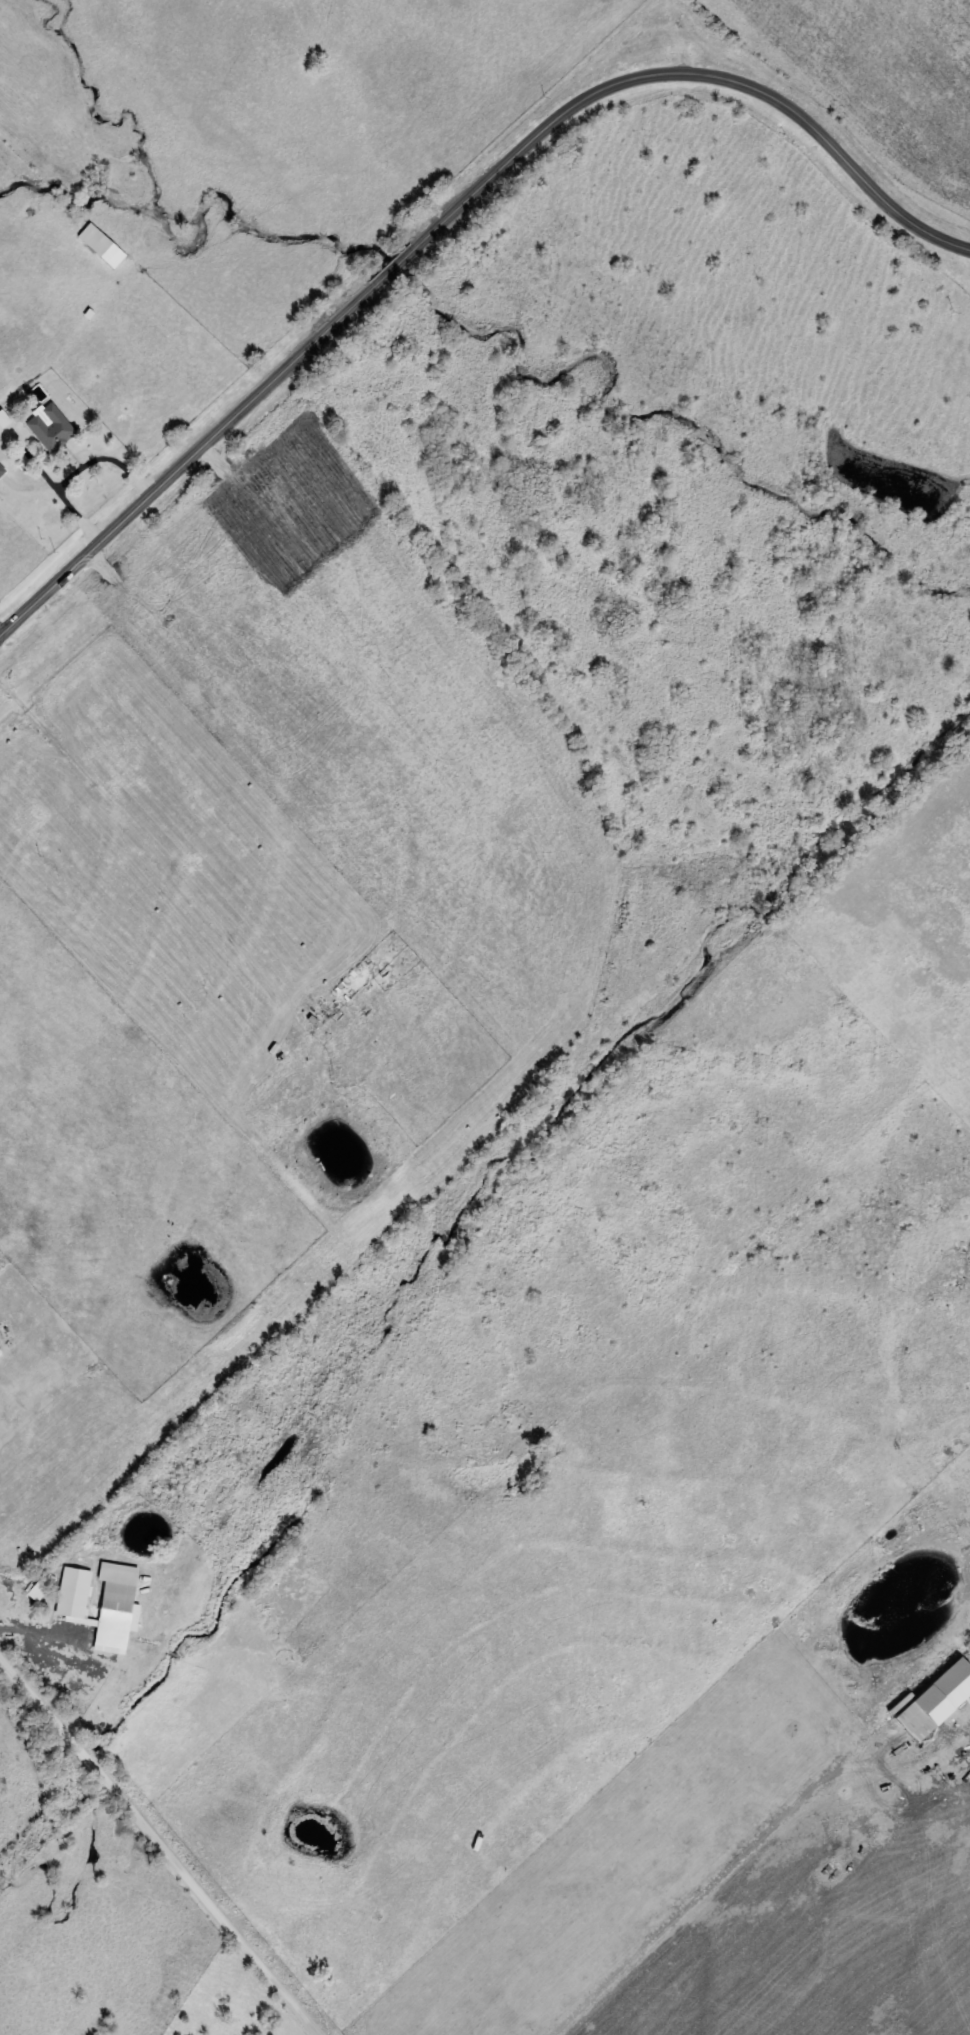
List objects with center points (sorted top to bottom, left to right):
road: (452, 211)
building: (99, 245)
building: (3, 420)
building: (49, 427)
road: (111, 454)
road: (69, 494)
road: (2, 629)
building: (113, 1613)
road: (33, 1629)
building: (930, 1705)
road: (163, 1846)
road: (739, 1858)
road: (322, 2032)

